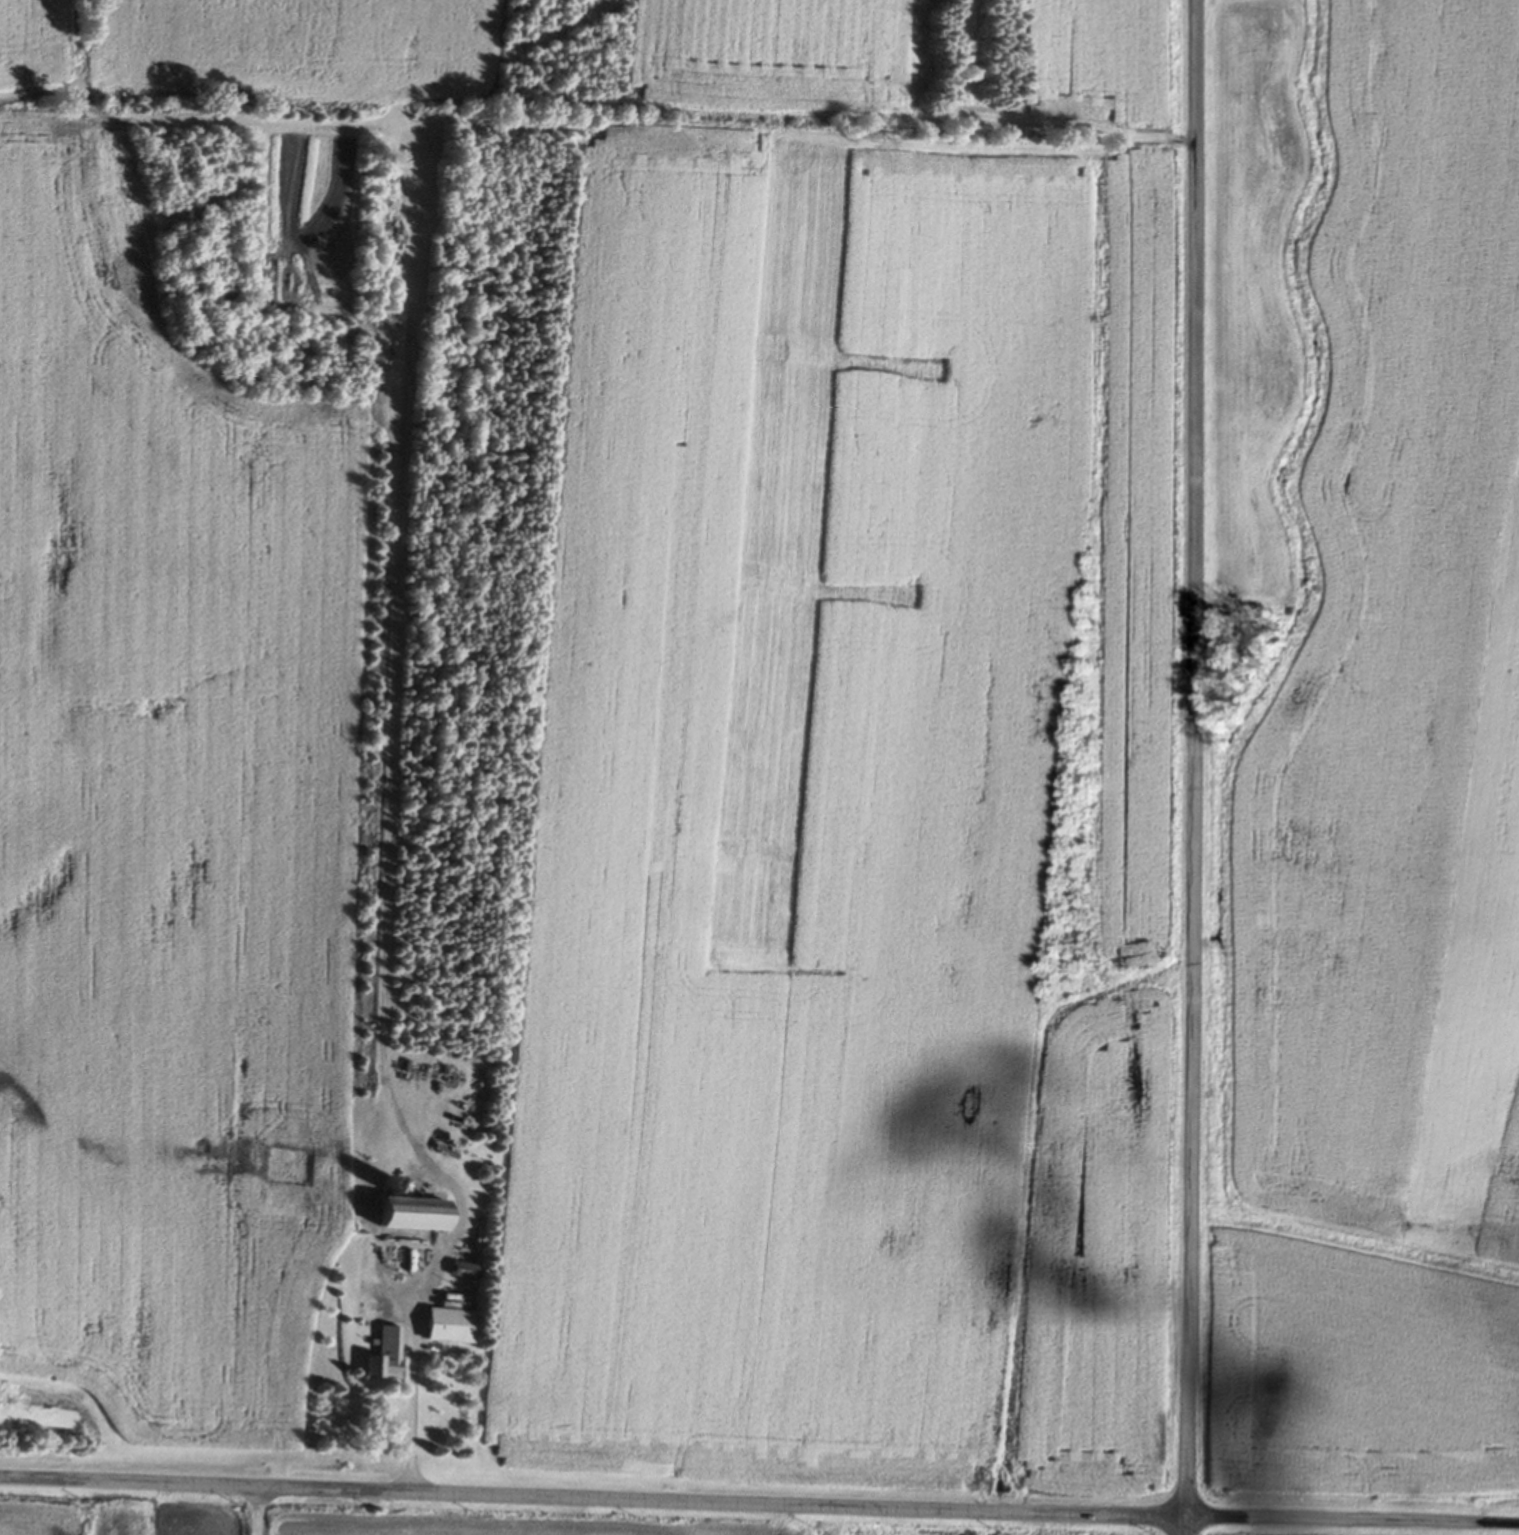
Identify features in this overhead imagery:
road: (1194, 767)
building: (406, 1215)
road: (433, 1261)
building: (446, 1326)
building: (381, 1357)
road: (759, 1504)
road: (256, 1511)

